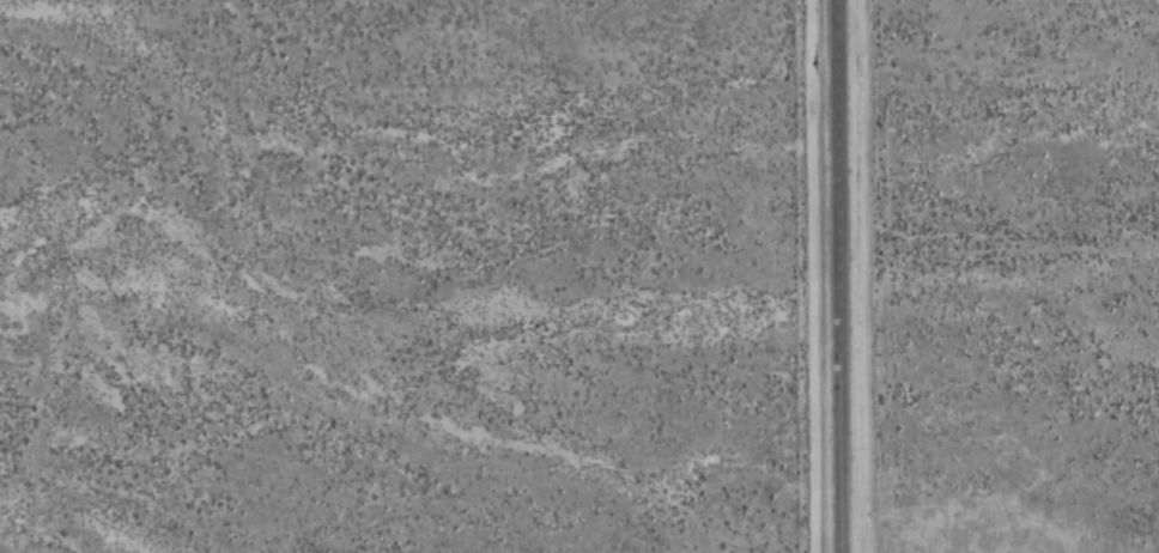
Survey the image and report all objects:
road: (836, 276)

